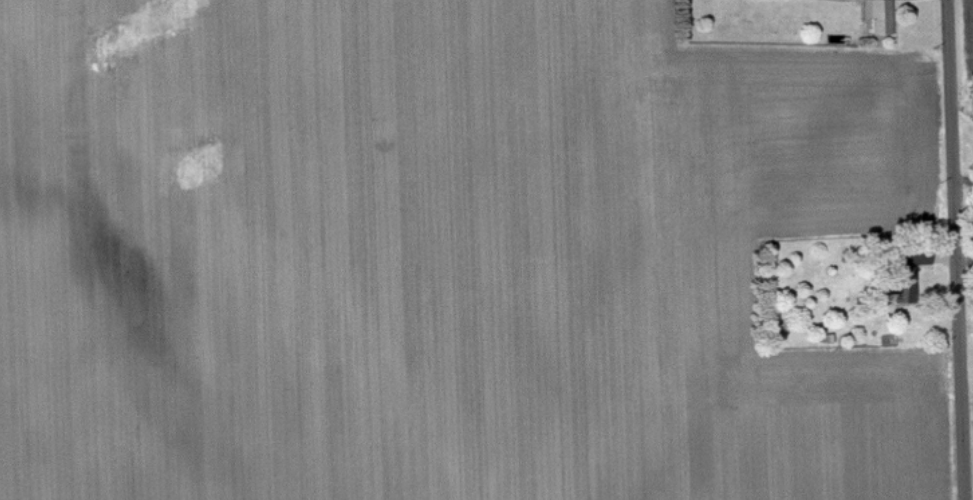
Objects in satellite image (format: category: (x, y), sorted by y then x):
building: (879, 16)
road: (955, 250)
building: (909, 271)

